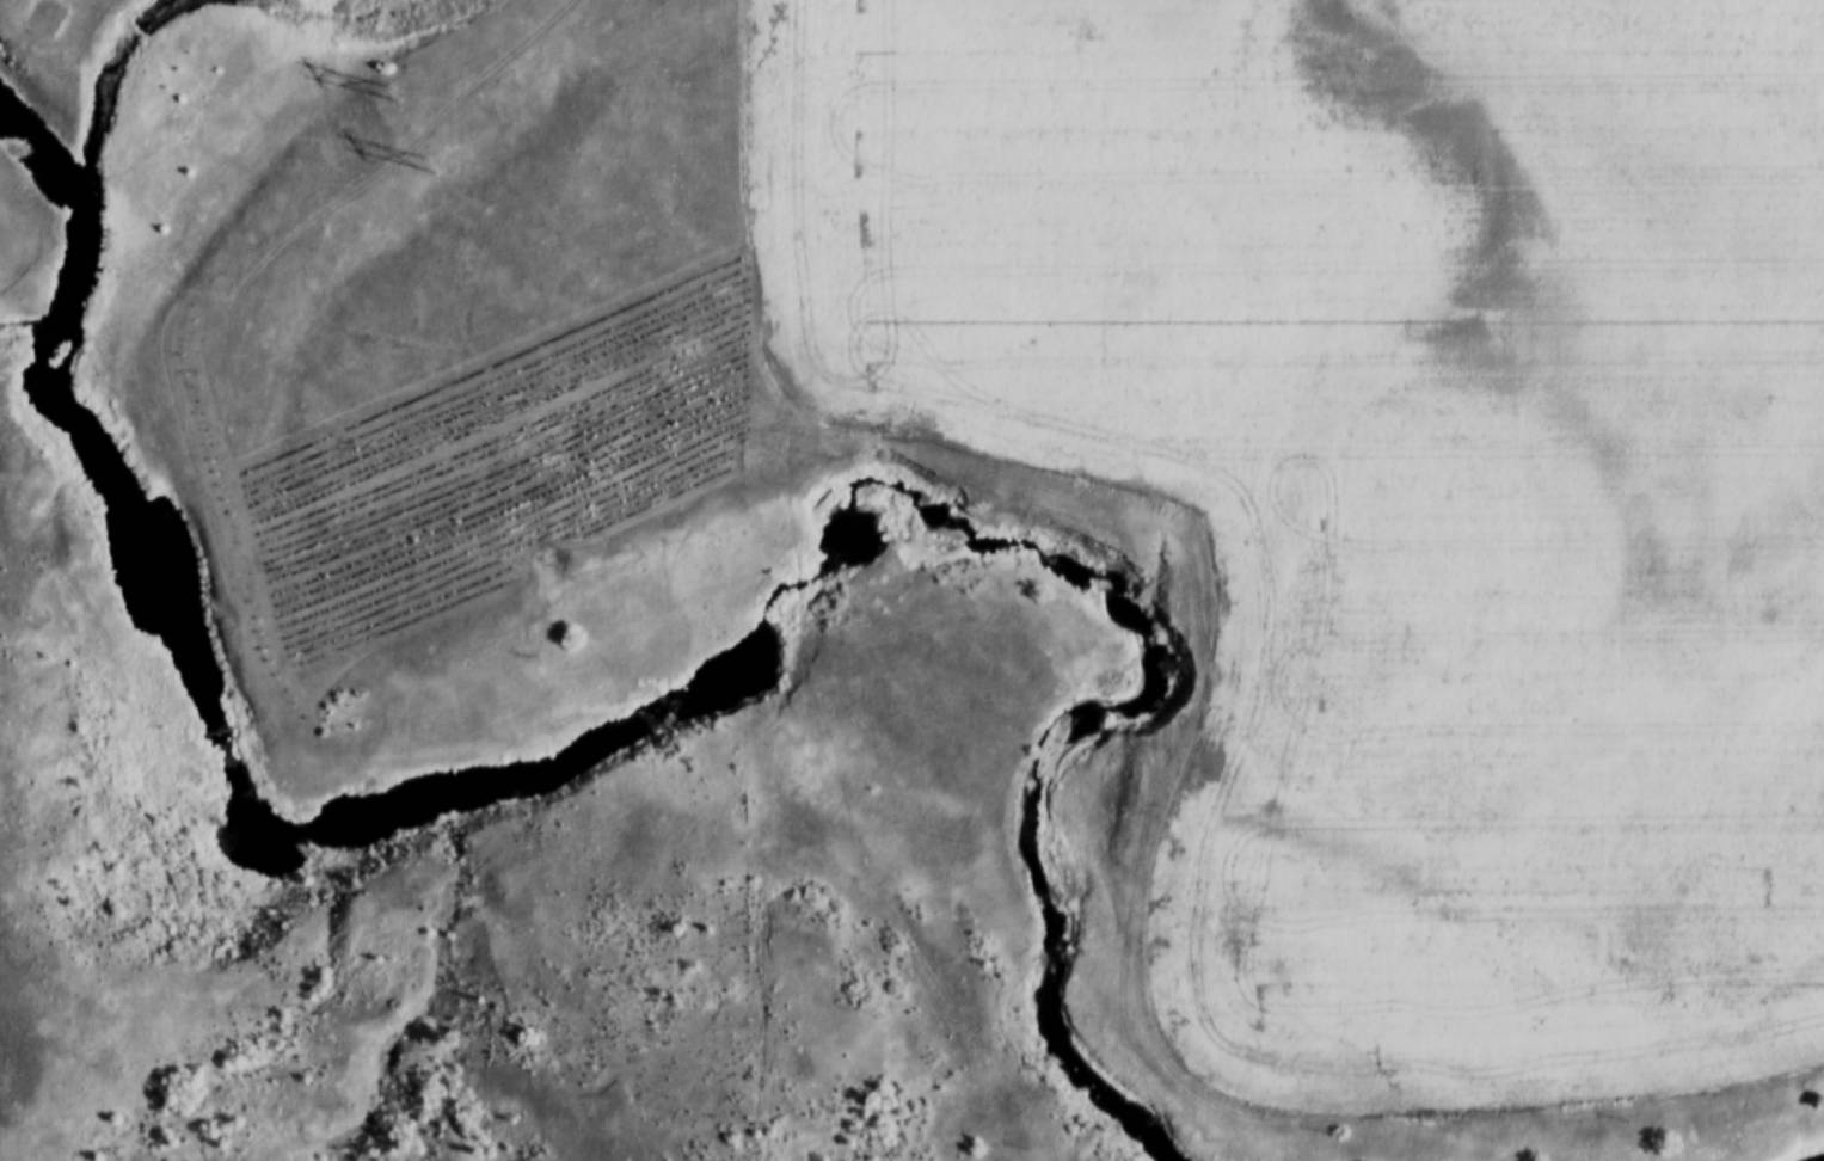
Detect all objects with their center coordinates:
power tower: (389, 100)
power tower: (423, 170)

